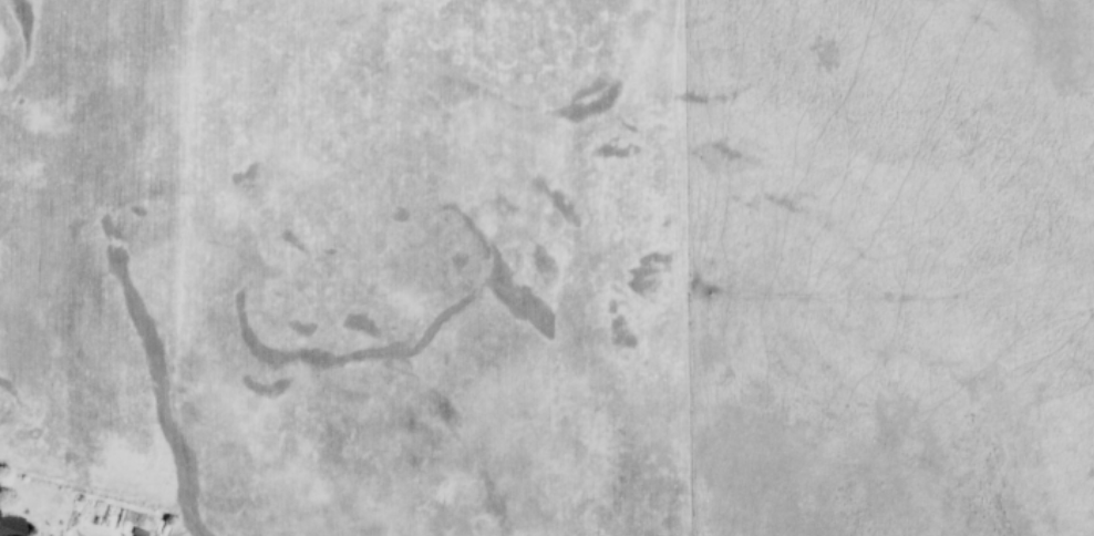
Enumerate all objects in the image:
building: (12, 525)

